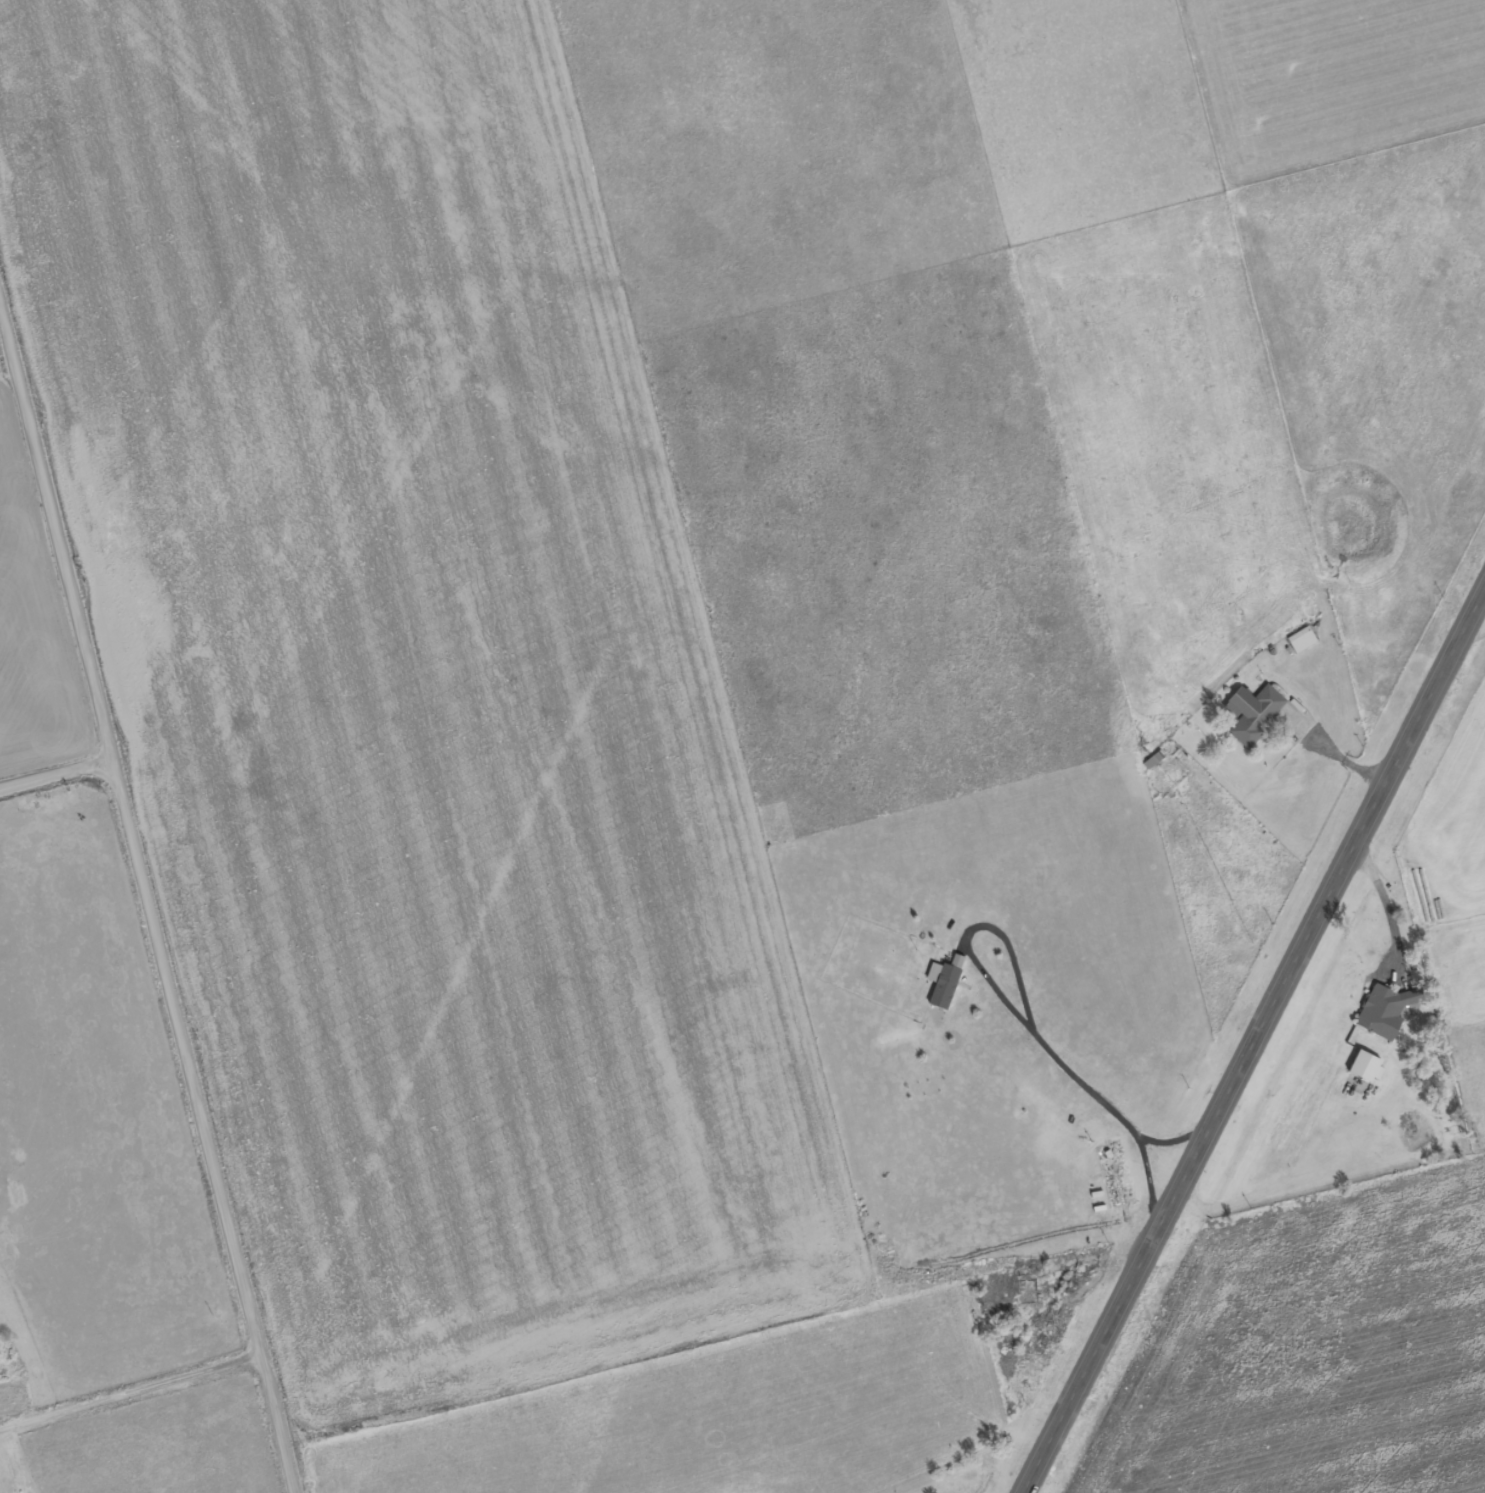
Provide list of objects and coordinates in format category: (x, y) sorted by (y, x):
building: (1303, 640)
building: (1257, 716)
road: (48, 744)
building: (1154, 761)
road: (145, 921)
building: (945, 983)
building: (1380, 1008)
road: (1253, 1040)
road: (114, 1327)

